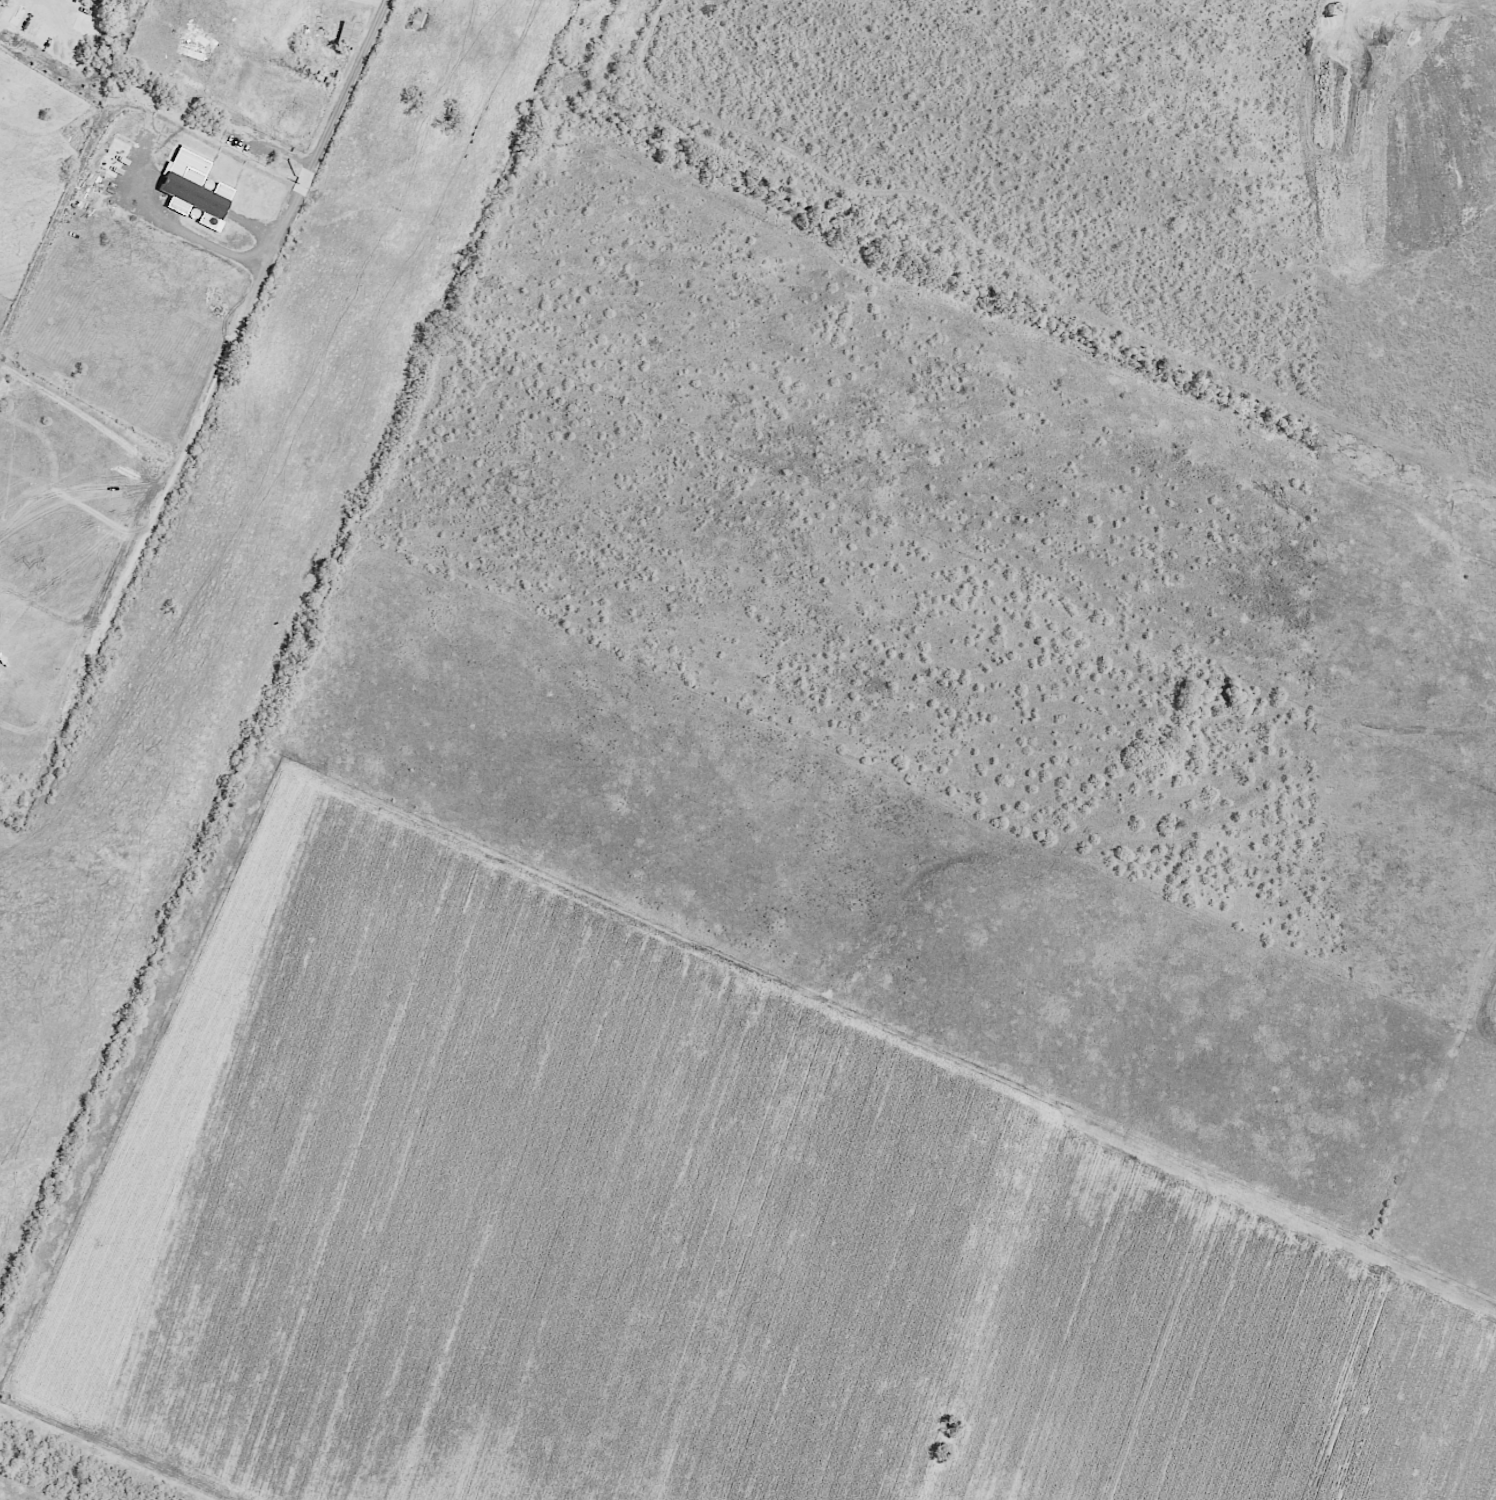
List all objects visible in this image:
building: (95, 1)
building: (100, 1)
road: (376, 5)
road: (69, 8)
building: (168, 74)
road: (1320, 77)
road: (1481, 152)
road: (328, 156)
road: (950, 171)
road: (259, 261)
road: (228, 381)
road: (1336, 382)
road: (594, 399)
road: (1068, 405)
road: (1150, 458)
road: (809, 481)
road: (1019, 584)
road: (1384, 645)
road: (818, 666)
road: (628, 802)

